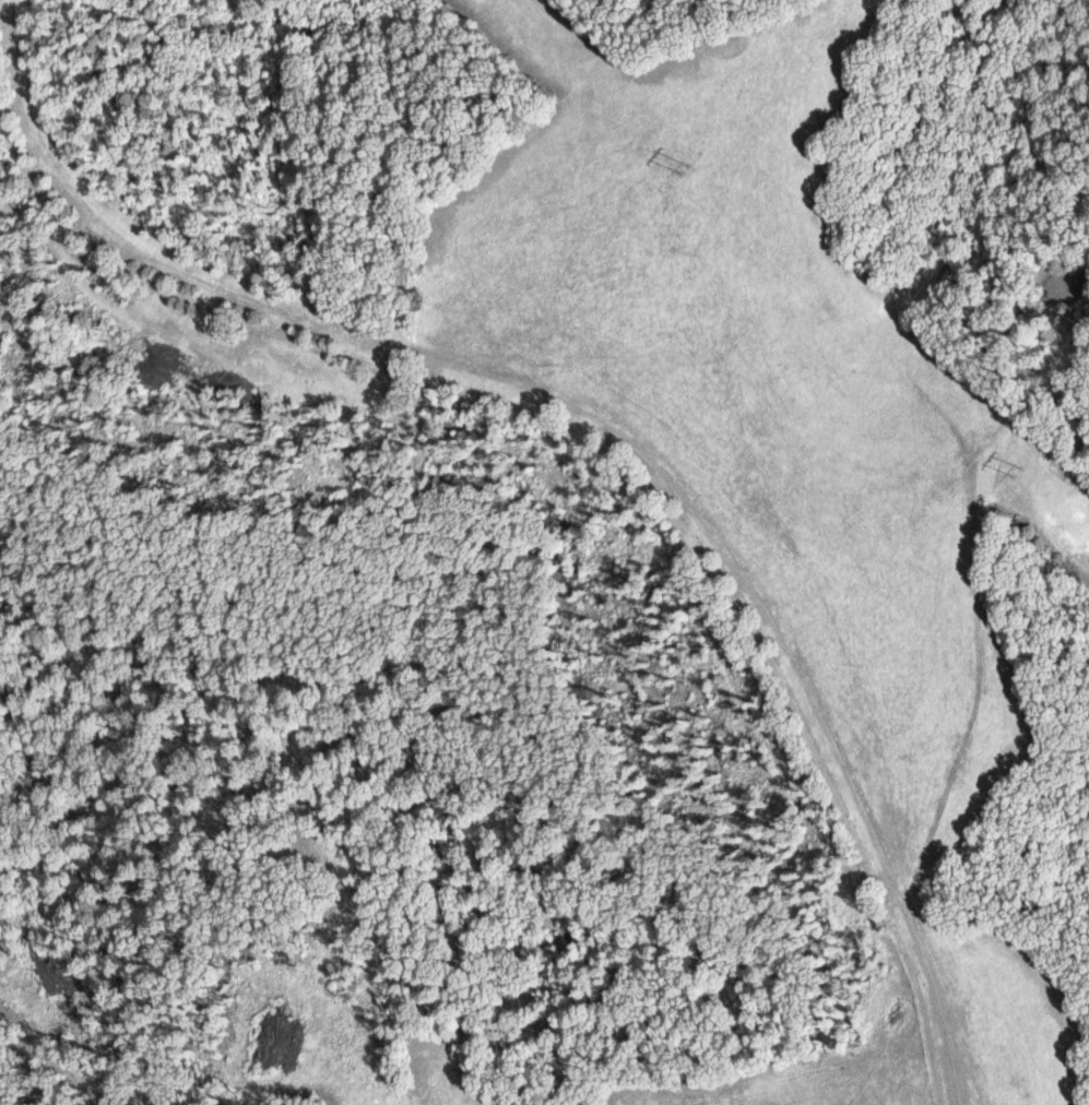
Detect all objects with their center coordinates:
power tower: (687, 171)
road: (398, 188)
power tower: (1015, 473)
road: (760, 662)

